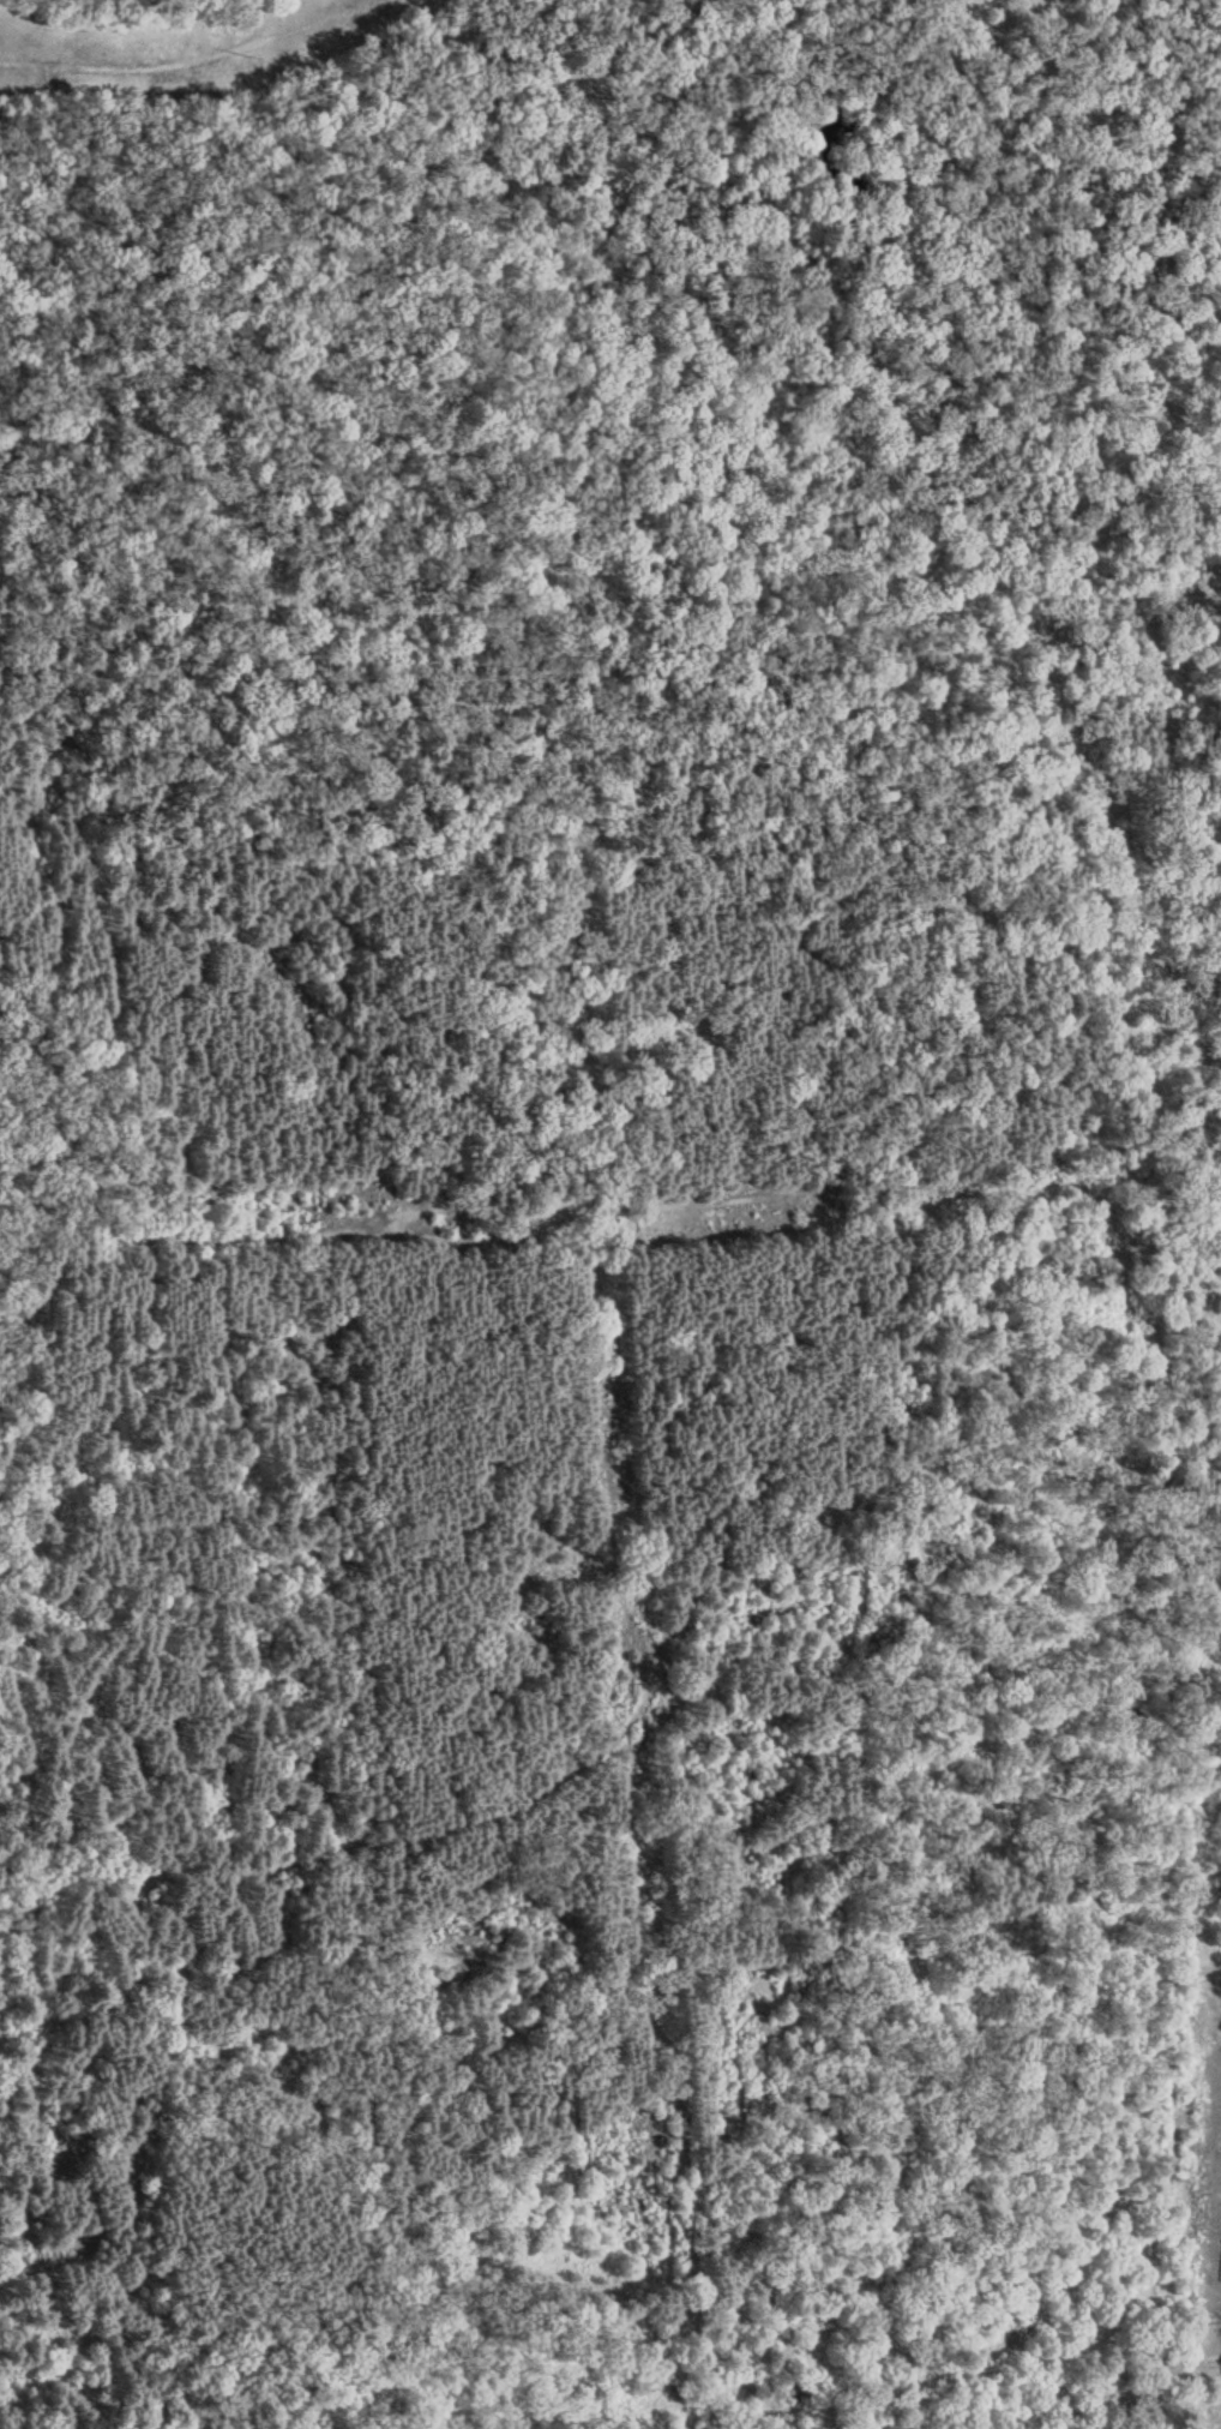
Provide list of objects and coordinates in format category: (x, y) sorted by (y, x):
road: (1150, 2388)

